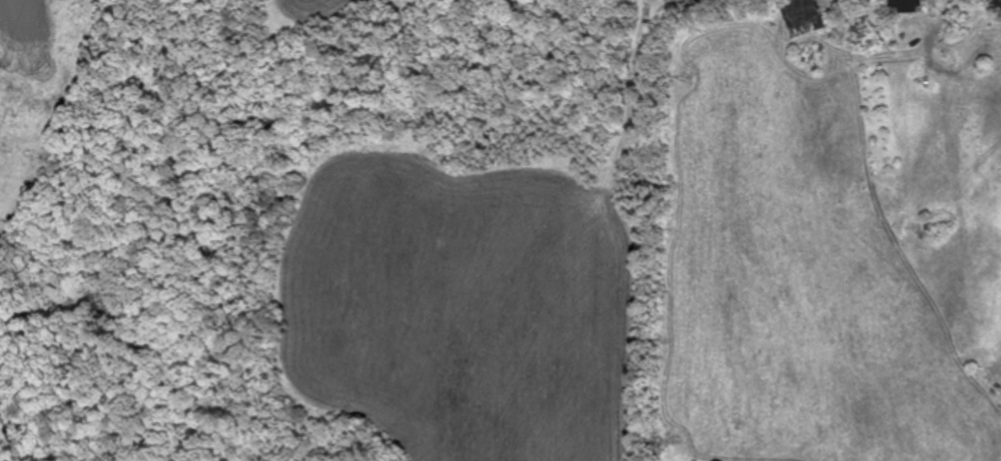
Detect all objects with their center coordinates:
building: (990, 6)
building: (903, 7)
building: (802, 16)

